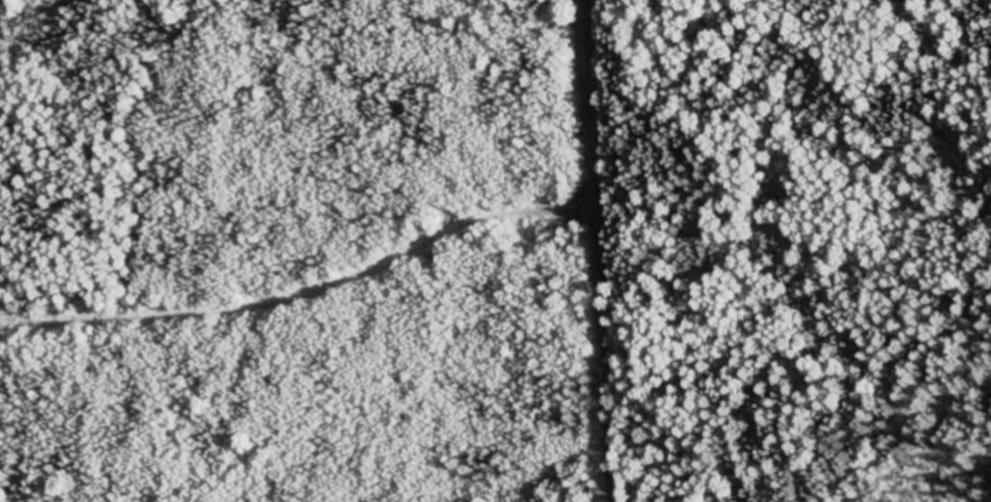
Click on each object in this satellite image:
road: (597, 251)
road: (305, 299)

